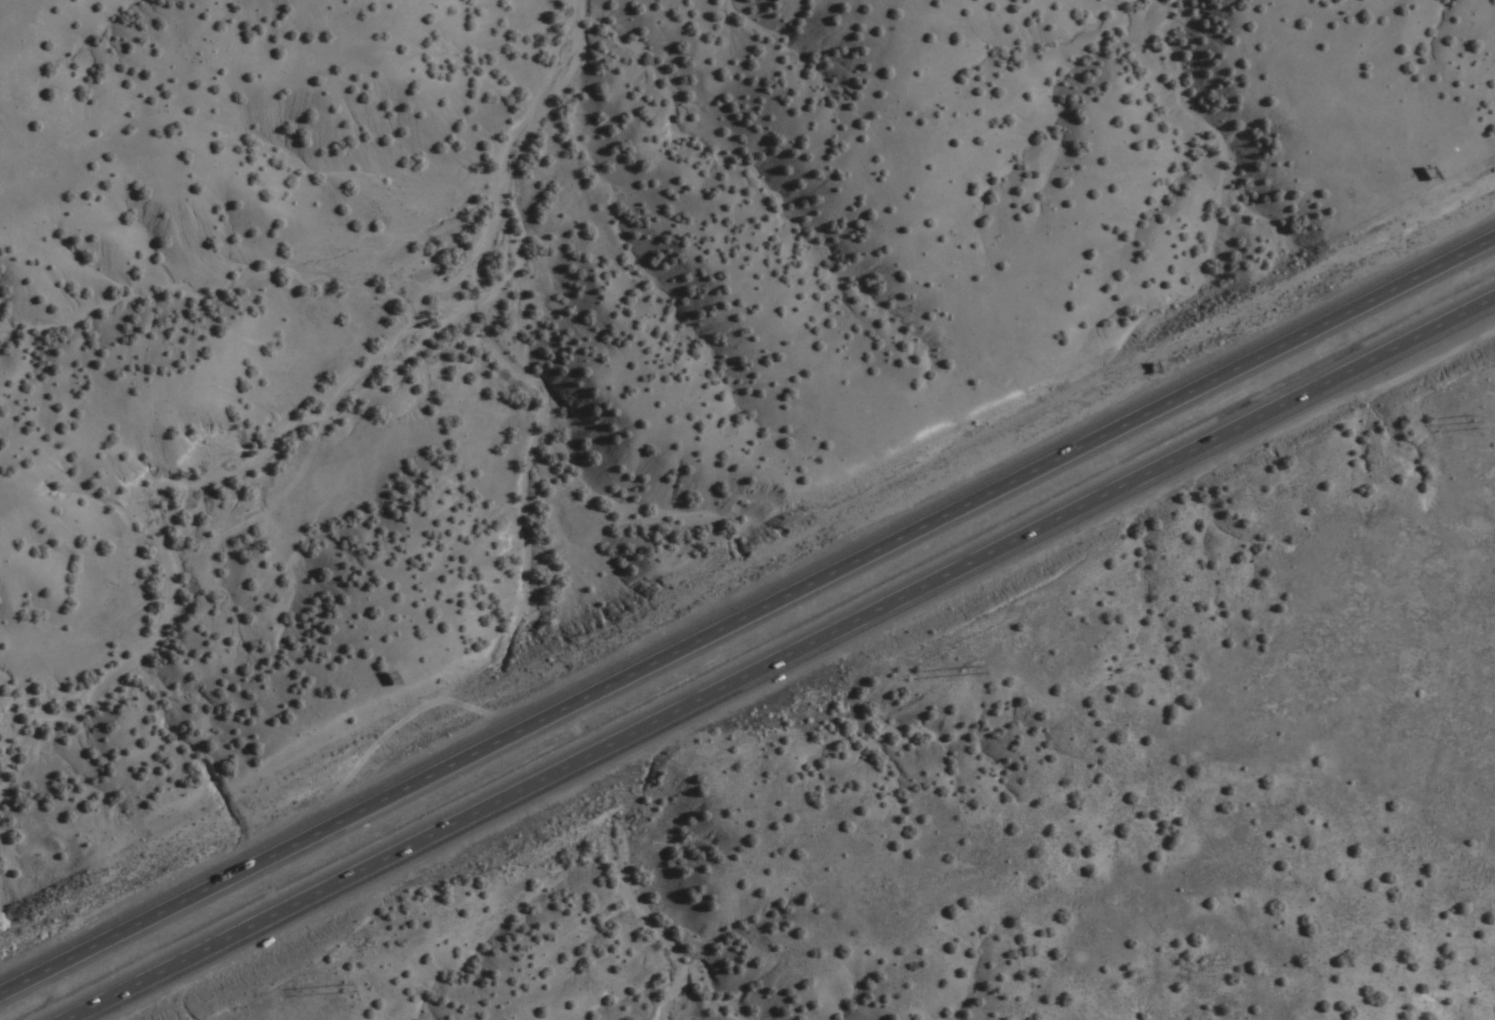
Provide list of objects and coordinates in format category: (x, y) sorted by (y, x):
road: (747, 618)
road: (777, 654)

